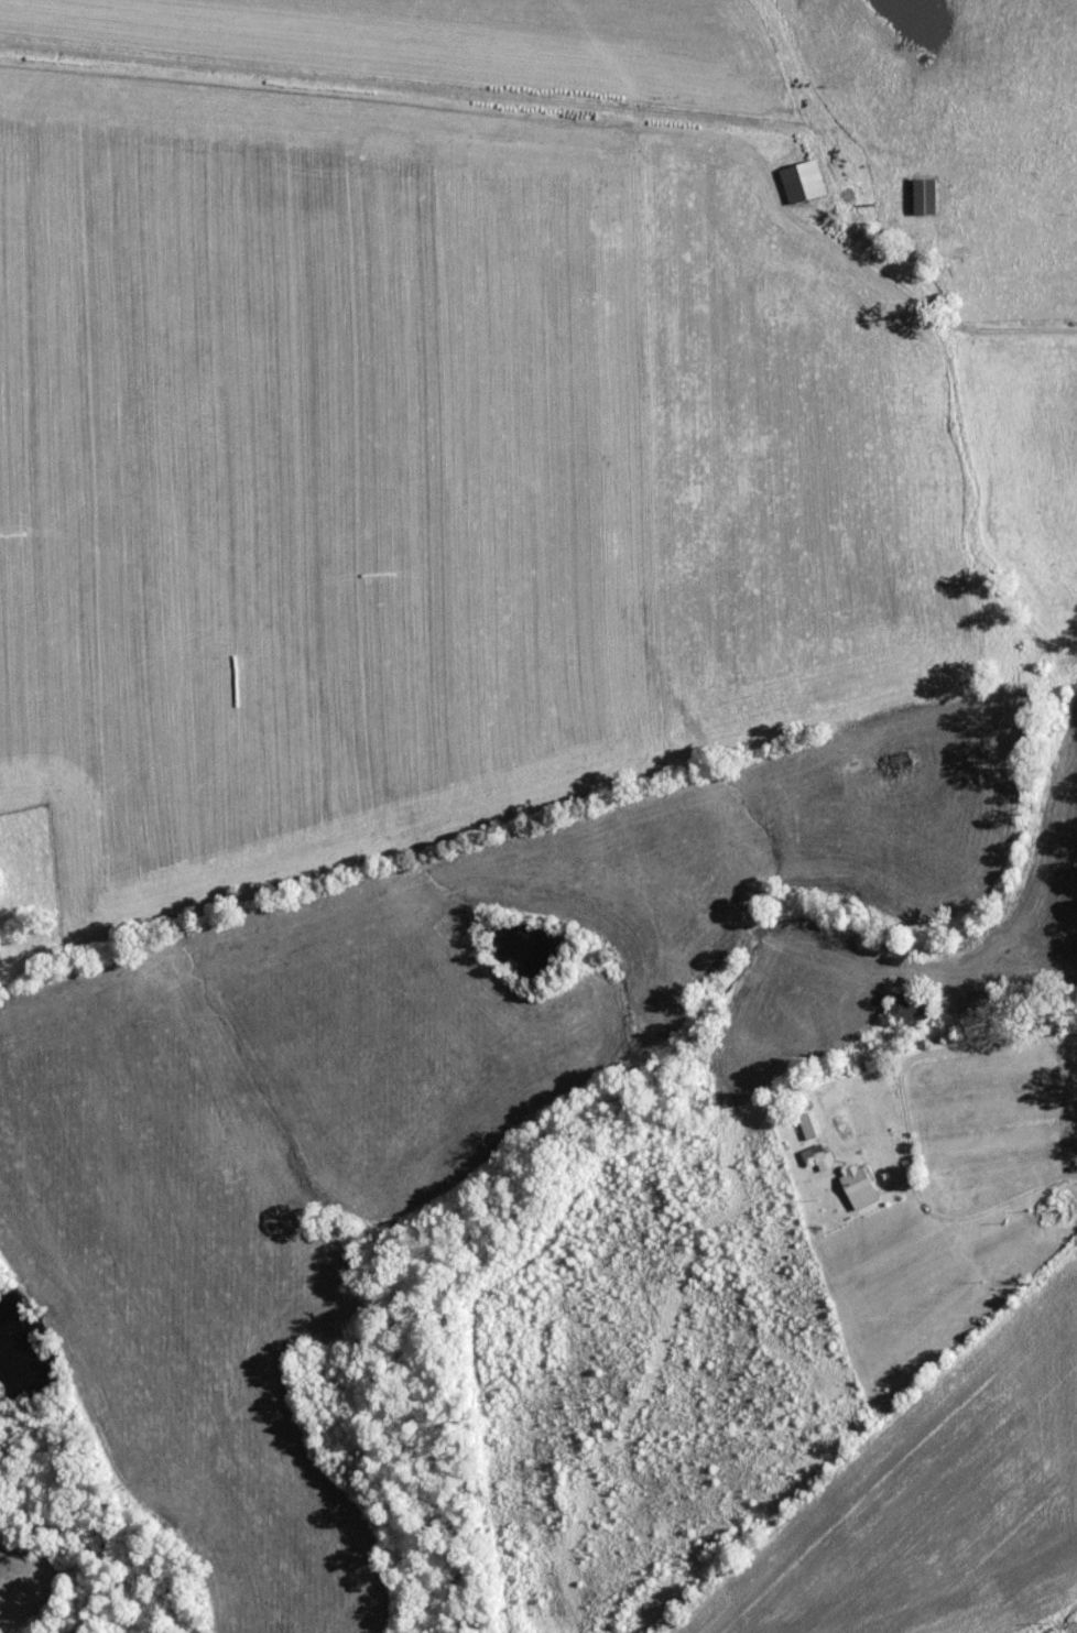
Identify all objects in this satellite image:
building: (797, 182)
building: (918, 196)
building: (904, 1009)
building: (803, 1126)
building: (818, 1158)
building: (853, 1188)

